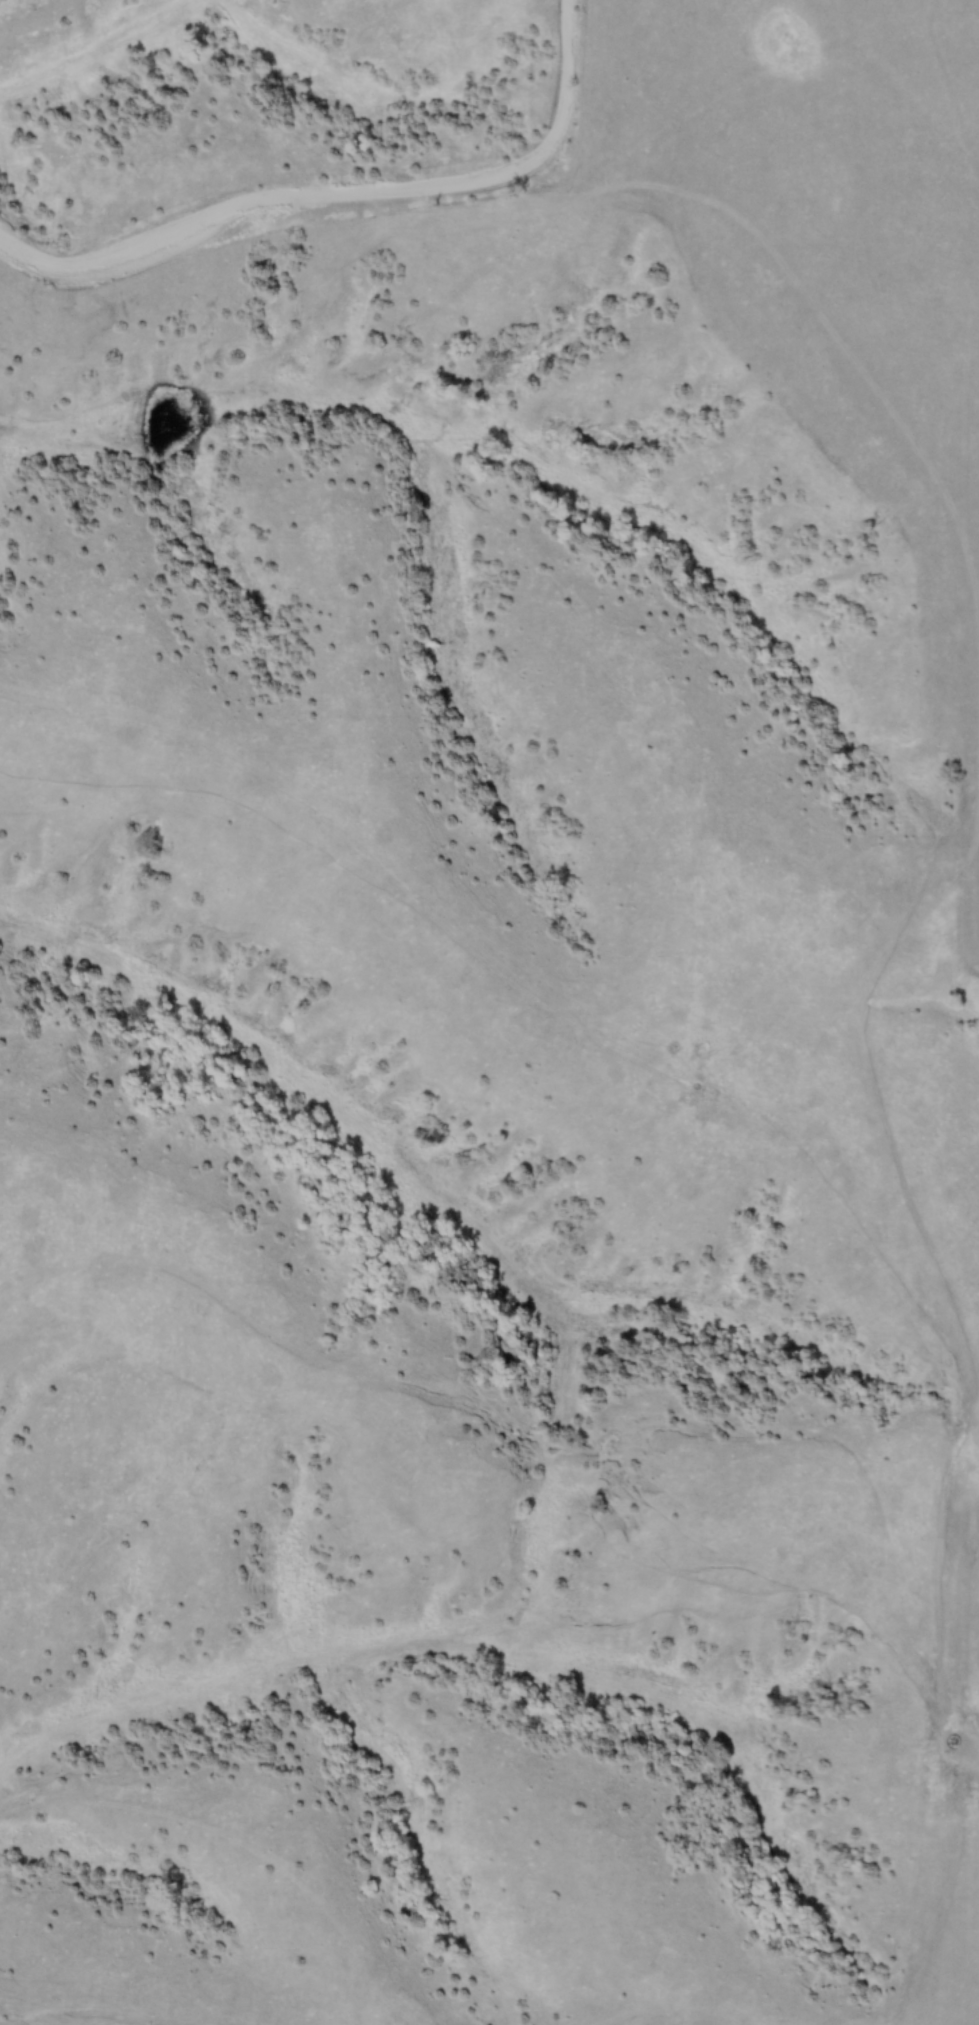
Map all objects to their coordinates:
road: (345, 195)

